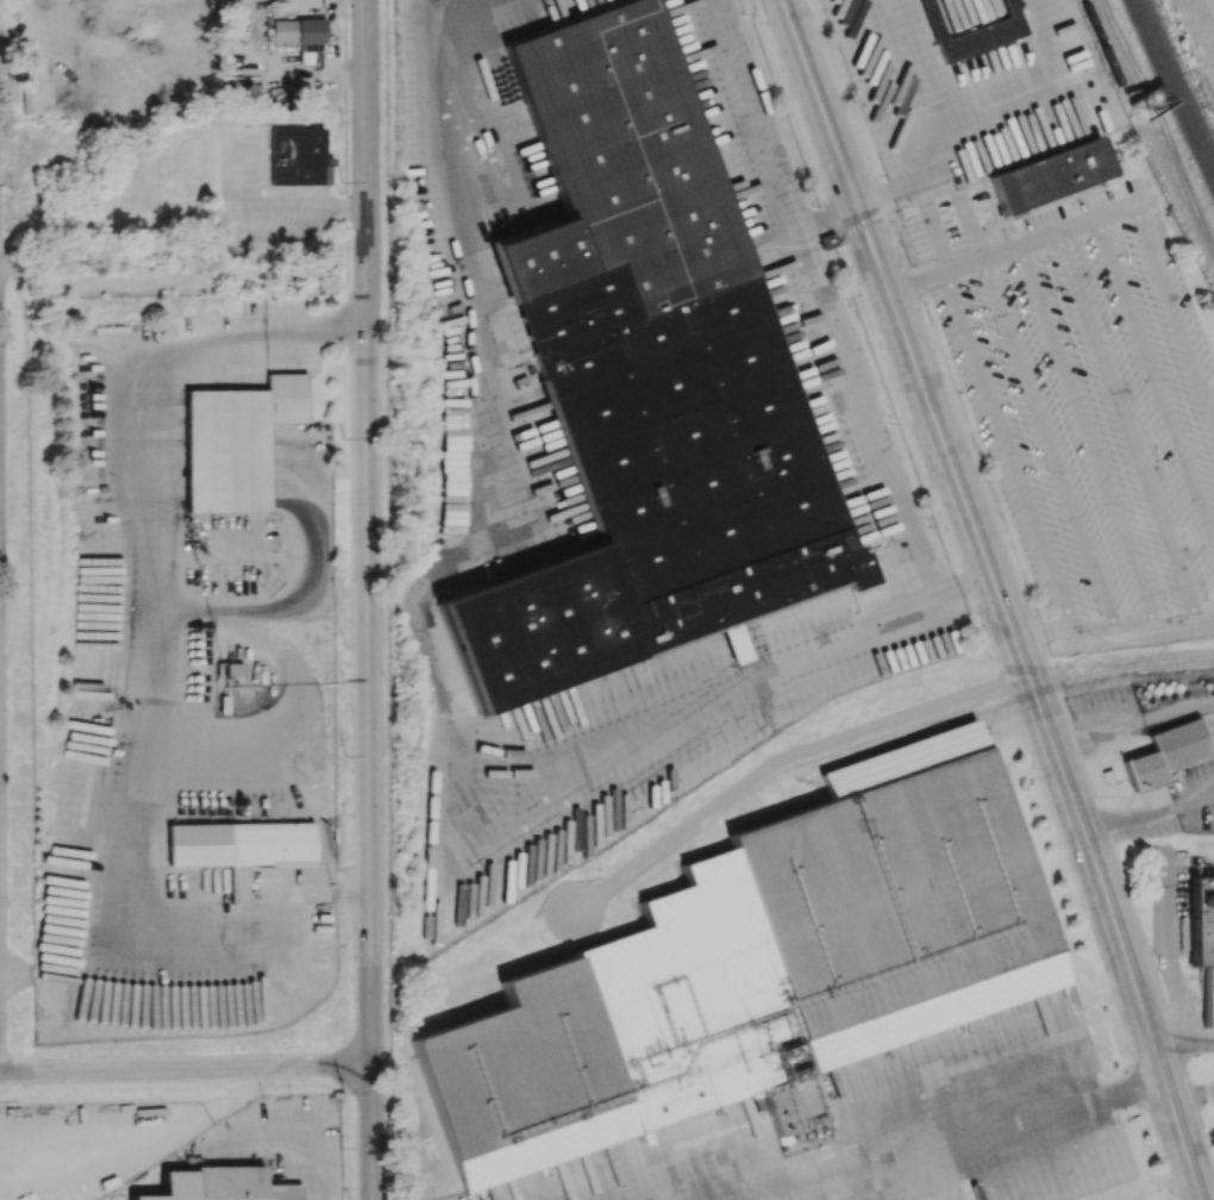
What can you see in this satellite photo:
building: (298, 30)
railway: (1179, 73)
railway: (1174, 86)
road: (747, 113)
railway: (1145, 145)
building: (299, 156)
building: (1050, 174)
road: (970, 225)
road: (1039, 236)
road: (934, 237)
road: (918, 281)
road: (1174, 306)
road: (1156, 379)
building: (645, 380)
parking lot: (1084, 398)
road: (861, 411)
road: (1126, 423)
road: (1087, 432)
road: (1046, 440)
building: (236, 442)
road: (1008, 449)
road: (1000, 596)
road: (367, 599)
road: (1143, 620)
road: (1043, 629)
road: (146, 644)
building: (233, 668)
railway: (991, 708)
road: (1134, 725)
building: (1166, 754)
road: (783, 755)
road: (1149, 811)
building: (240, 844)
building: (1203, 939)
building: (758, 970)
road: (1182, 1037)
road: (184, 1068)
road: (991, 1140)
road: (314, 1158)
building: (221, 1185)
road: (907, 1186)

